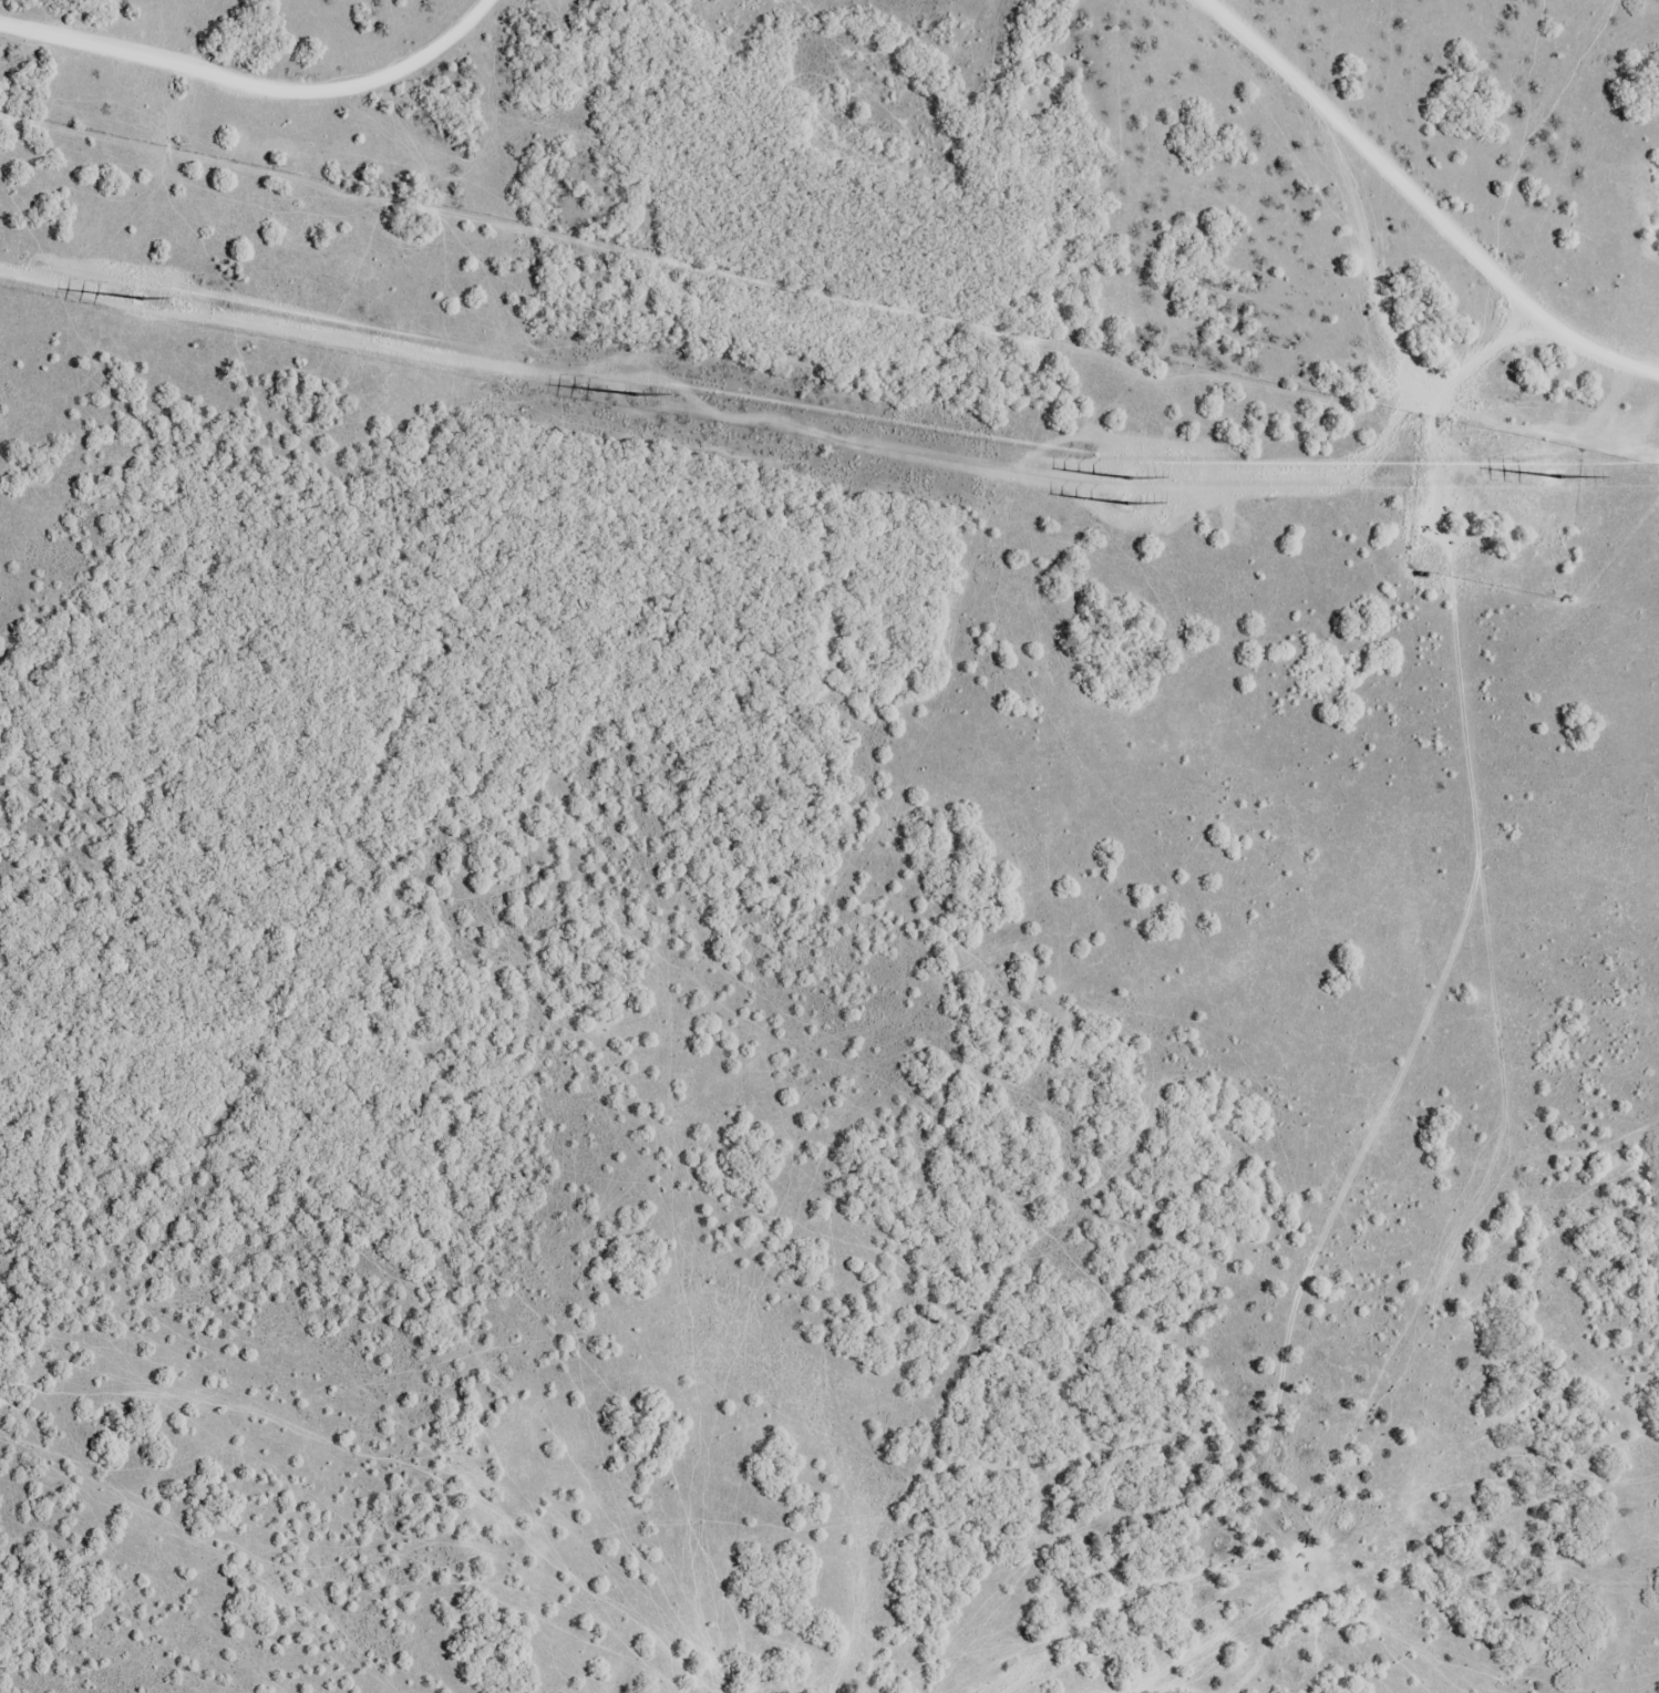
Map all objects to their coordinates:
road: (473, 40)
road: (730, 158)
road: (1385, 224)
power tower: (146, 300)
power tower: (638, 398)
power tower: (1566, 483)
power tower: (1134, 507)
road: (1532, 1086)

